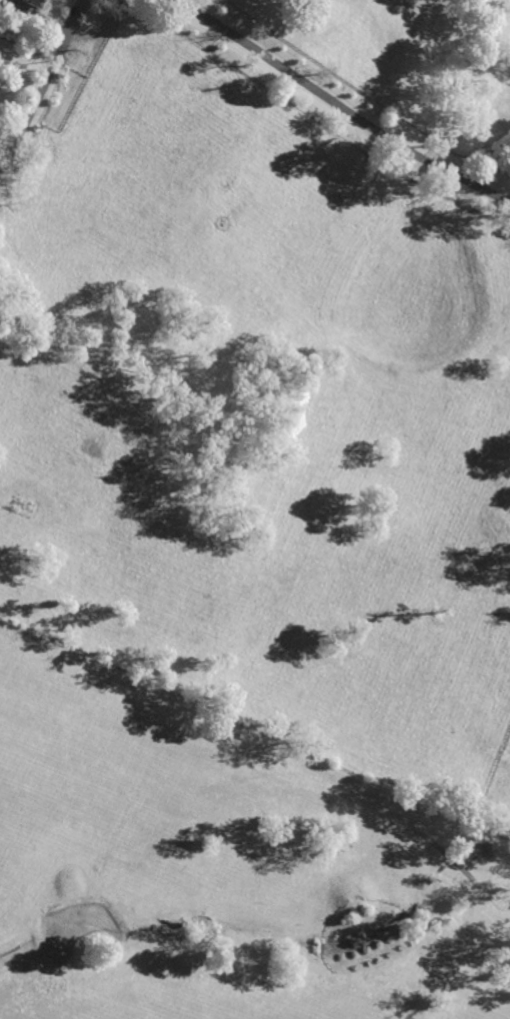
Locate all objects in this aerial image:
building: (25, 4)
road: (45, 81)
road: (344, 98)
road: (2, 157)
road: (2, 168)
park: (246, 538)

